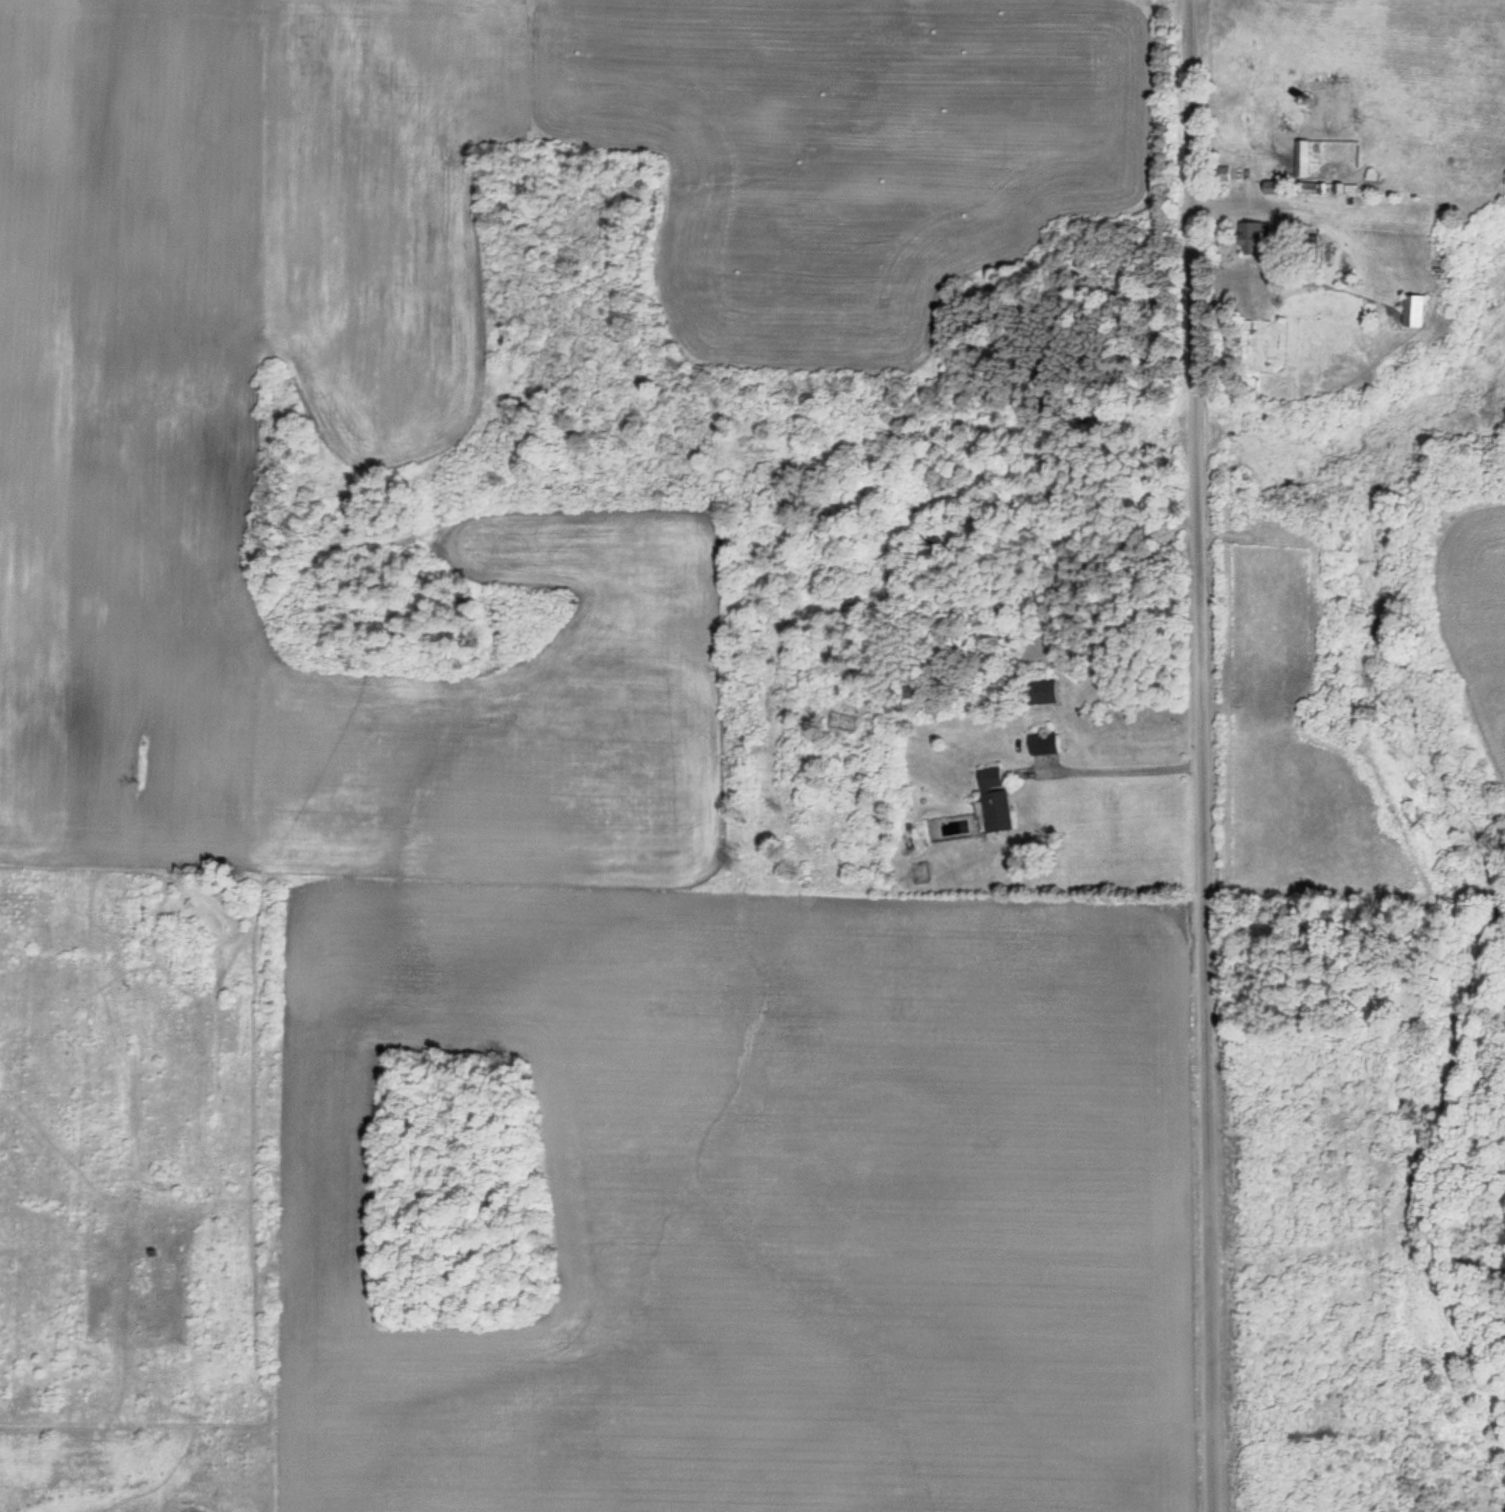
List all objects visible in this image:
building: (1303, 159)
building: (1222, 174)
building: (1251, 240)
building: (1310, 261)
building: (1412, 312)
building: (1042, 693)
road: (1206, 755)
building: (996, 800)

